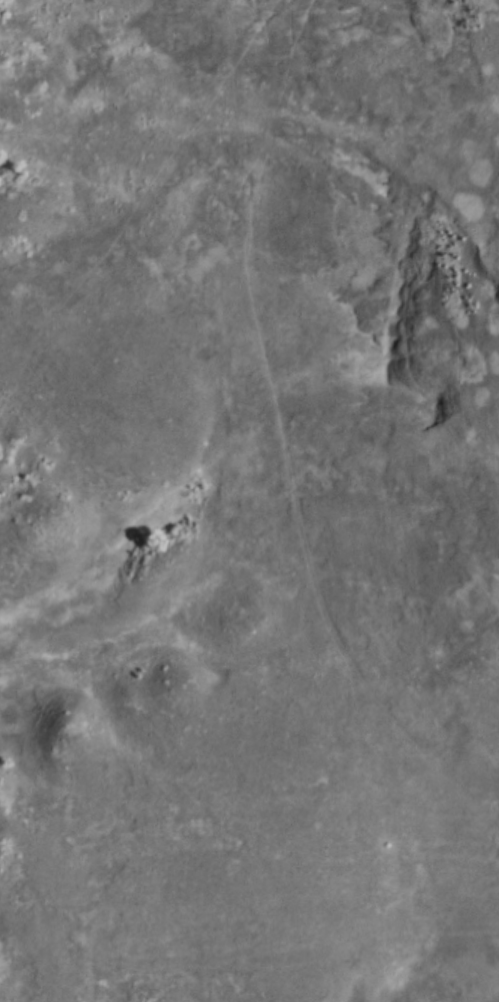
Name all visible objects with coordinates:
road: (281, 447)
building: (230, 722)

